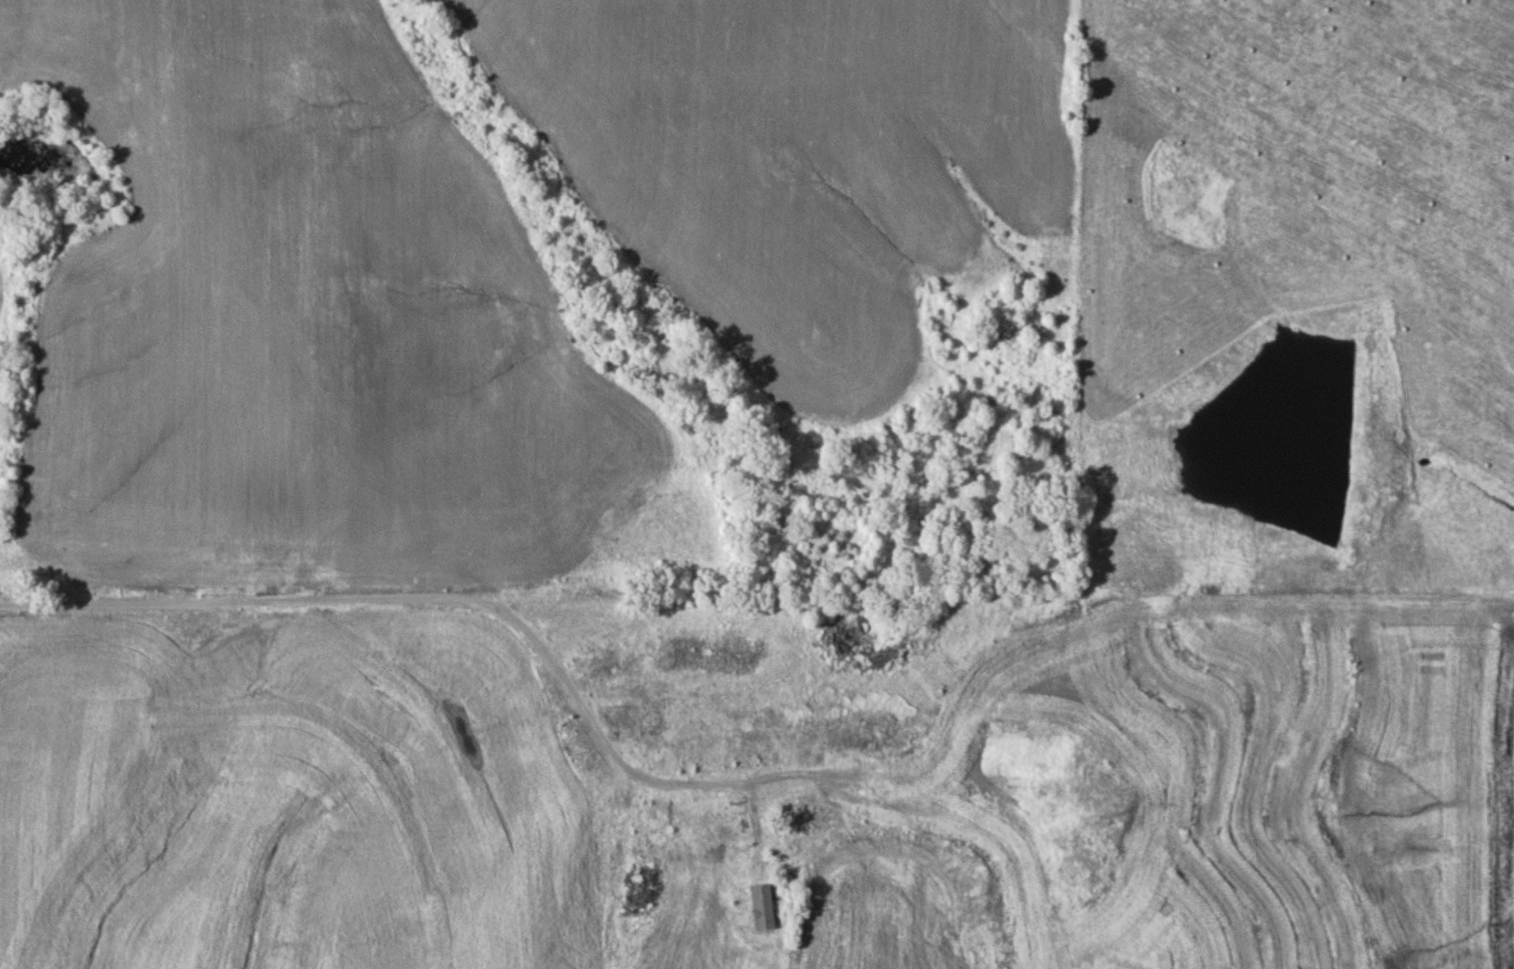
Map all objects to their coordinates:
road: (382, 600)
building: (653, 720)
building: (749, 757)
building: (1022, 775)
building: (731, 838)

